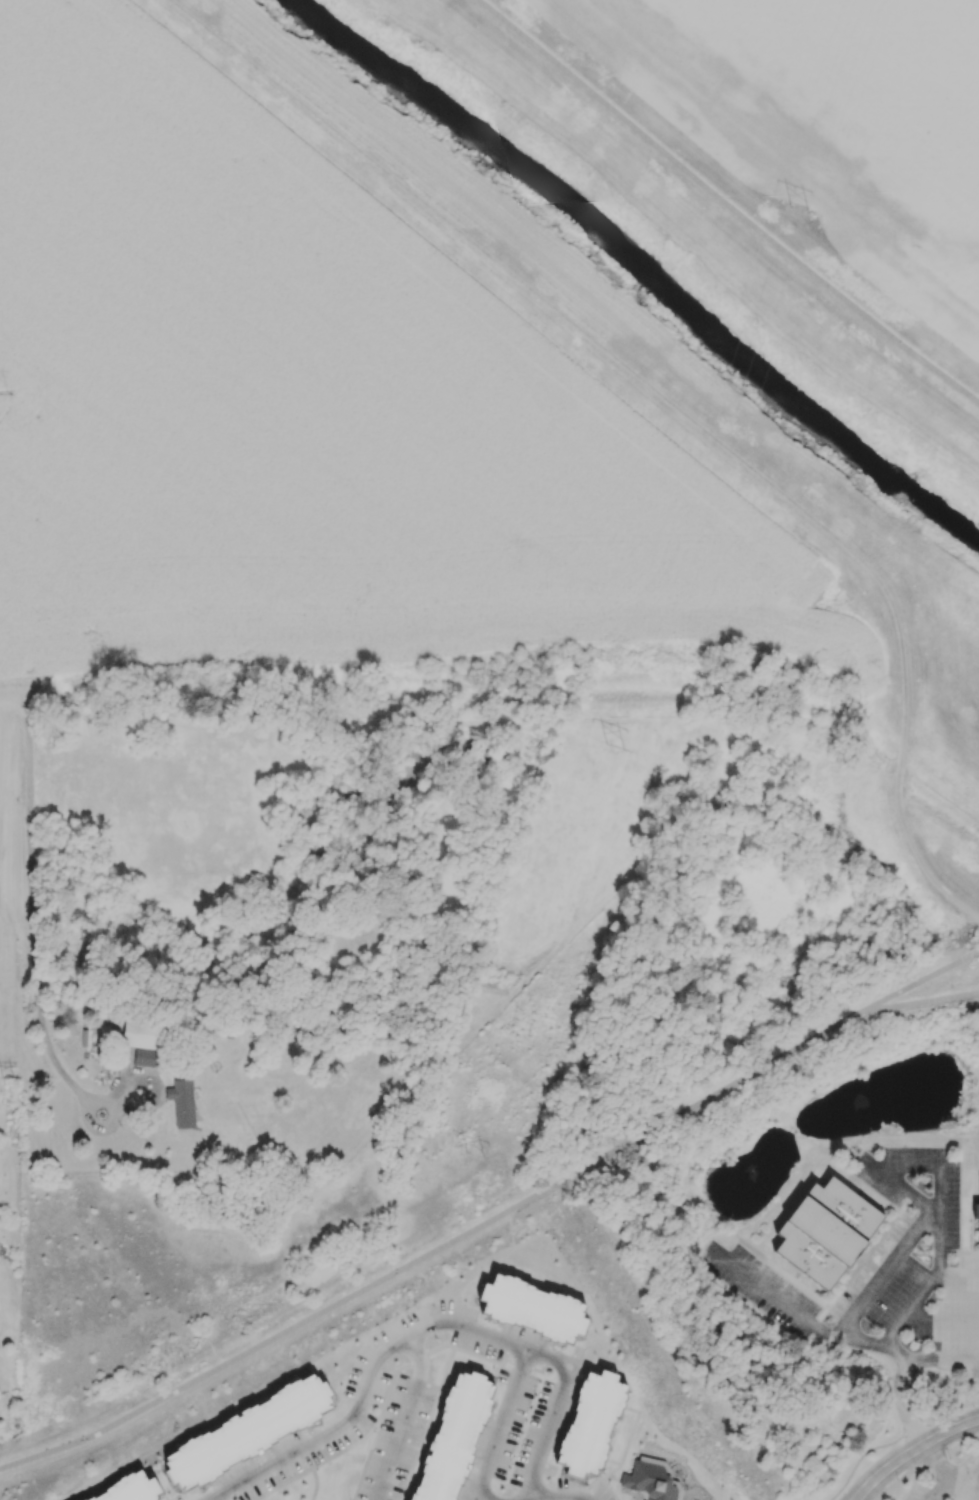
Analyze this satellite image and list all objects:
road: (727, 202)
power tower: (798, 203)
road: (490, 258)
river: (640, 267)
power tower: (10, 393)
crop: (309, 406)
road: (125, 697)
road: (16, 698)
road: (906, 714)
power tower: (623, 729)
road: (32, 739)
road: (5, 783)
road: (923, 980)
road: (37, 995)
road: (923, 1001)
building: (144, 1032)
building: (145, 1057)
power tower: (11, 1080)
building: (182, 1102)
fountain: (858, 1106)
power tower: (483, 1137)
road: (932, 1164)
fountain: (752, 1172)
building: (977, 1212)
building: (829, 1234)
road: (437, 1247)
parking lot: (885, 1270)
road: (966, 1278)
road: (779, 1299)
road: (863, 1300)
building: (534, 1308)
road: (909, 1309)
road: (942, 1319)
road: (415, 1333)
road: (900, 1392)
road: (554, 1413)
road: (403, 1416)
building: (592, 1424)
building: (4, 1431)
building: (248, 1432)
building: (453, 1436)
road: (895, 1439)
road: (954, 1448)
road: (911, 1451)
road: (311, 1466)
road: (966, 1468)
road: (901, 1477)
building: (652, 1479)
parking lot: (953, 1484)
road: (960, 1486)
road: (938, 1488)
building: (129, 1489)
road: (564, 1496)
road: (206, 1499)

